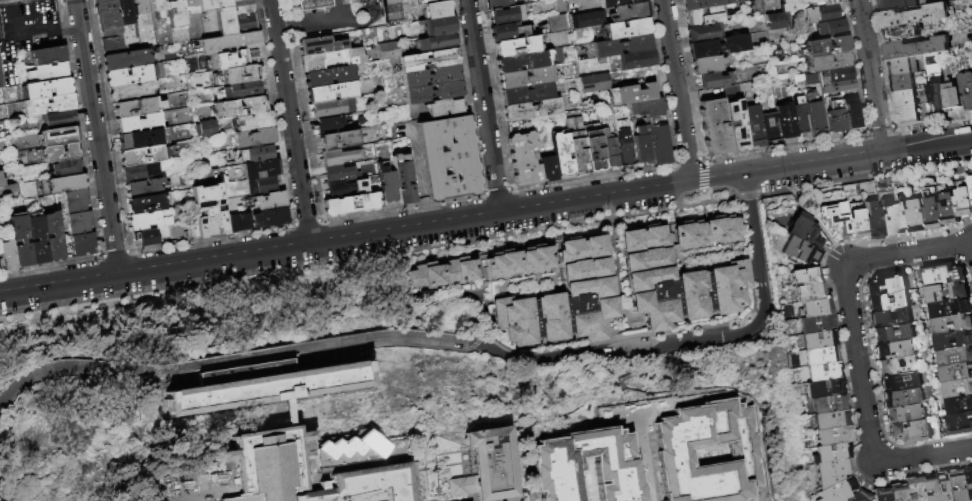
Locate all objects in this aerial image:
building: (542, 0)
road: (12, 2)
building: (239, 2)
road: (343, 2)
building: (422, 3)
building: (616, 3)
building: (313, 4)
building: (498, 4)
building: (705, 4)
building: (803, 4)
building: (191, 5)
building: (896, 5)
building: (159, 7)
building: (141, 8)
building: (242, 9)
building: (391, 10)
building: (407, 10)
building: (436, 10)
building: (127, 12)
road: (345, 12)
building: (628, 12)
building: (175, 14)
building: (220, 14)
building: (820, 14)
building: (506, 15)
road: (311, 16)
building: (703, 16)
building: (913, 16)
building: (107, 17)
road: (364, 18)
building: (583, 19)
building: (776, 20)
road: (322, 23)
building: (557, 23)
building: (245, 24)
building: (439, 26)
road: (70, 28)
road: (287, 28)
building: (834, 29)
building: (624, 30)
building: (507, 32)
building: (703, 33)
road: (24, 34)
building: (900, 34)
building: (179, 35)
building: (436, 42)
building: (230, 43)
building: (113, 46)
building: (319, 46)
building: (517, 46)
building: (824, 46)
building: (619, 47)
building: (717, 47)
building: (918, 48)
building: (387, 51)
building: (47, 55)
building: (126, 60)
building: (232, 60)
building: (331, 60)
building: (429, 60)
building: (634, 61)
building: (523, 62)
building: (826, 62)
building: (706, 65)
building: (904, 66)
building: (49, 72)
building: (158, 72)
building: (240, 75)
building: (431, 76)
road: (870, 76)
building: (329, 77)
building: (526, 78)
building: (797, 78)
building: (1, 79)
building: (810, 79)
building: (713, 80)
building: (839, 80)
building: (595, 82)
building: (131, 83)
building: (823, 83)
building: (902, 83)
building: (45, 89)
building: (966, 90)
building: (238, 91)
building: (433, 92)
road: (676, 92)
building: (331, 93)
building: (526, 94)
building: (630, 94)
building: (937, 95)
building: (953, 98)
building: (905, 99)
building: (48, 105)
road: (483, 107)
building: (138, 108)
building: (239, 108)
building: (330, 108)
building: (446, 108)
building: (646, 108)
building: (531, 109)
building: (851, 114)
building: (814, 115)
building: (834, 115)
building: (907, 116)
building: (799, 118)
building: (59, 119)
building: (254, 122)
road: (289, 122)
building: (785, 122)
building: (140, 123)
building: (330, 125)
building: (737, 125)
building: (753, 126)
building: (713, 127)
building: (770, 128)
building: (207, 129)
building: (59, 136)
road: (95, 138)
building: (255, 138)
building: (144, 139)
building: (338, 141)
building: (657, 141)
building: (576, 144)
building: (640, 145)
road: (927, 145)
building: (592, 147)
building: (624, 147)
building: (608, 150)
building: (56, 153)
building: (257, 154)
building: (562, 155)
building: (145, 156)
building: (338, 157)
building: (448, 158)
building: (523, 158)
building: (66, 168)
building: (547, 168)
building: (261, 169)
building: (141, 172)
building: (385, 172)
building: (337, 173)
building: (402, 179)
building: (1, 182)
road: (691, 183)
building: (62, 185)
building: (262, 186)
building: (144, 188)
building: (345, 189)
building: (76, 202)
building: (267, 202)
building: (965, 202)
building: (146, 205)
building: (349, 205)
building: (951, 206)
building: (935, 210)
building: (207, 213)
building: (903, 216)
building: (918, 216)
road: (811, 217)
building: (270, 218)
building: (835, 218)
building: (888, 219)
building: (148, 221)
building: (871, 222)
building: (79, 223)
building: (238, 223)
building: (856, 225)
building: (804, 232)
building: (52, 237)
building: (150, 237)
building: (37, 240)
building: (20, 242)
building: (83, 244)
building: (800, 252)
road: (907, 253)
building: (8, 254)
road: (250, 255)
building: (519, 261)
building: (1, 264)
building: (446, 273)
building: (681, 273)
building: (944, 274)
building: (804, 276)
building: (887, 283)
building: (808, 292)
building: (949, 292)
building: (565, 300)
building: (888, 301)
building: (813, 308)
building: (951, 308)
building: (891, 318)
building: (816, 324)
building: (952, 324)
building: (893, 334)
building: (819, 340)
building: (953, 340)
road: (688, 343)
building: (893, 350)
building: (822, 355)
building: (955, 357)
road: (228, 360)
road: (624, 360)
road: (858, 364)
building: (898, 366)
building: (824, 370)
building: (956, 373)
building: (900, 381)
building: (263, 385)
building: (825, 388)
building: (958, 389)
building: (903, 397)
building: (829, 404)
building: (959, 405)
building: (904, 414)
building: (832, 420)
building: (960, 424)
building: (910, 432)
building: (834, 436)
building: (746, 441)
park: (715, 443)
park: (683, 449)
building: (832, 453)
road: (662, 456)
road: (923, 457)
building: (483, 466)
building: (270, 468)
building: (833, 472)
road: (546, 474)
building: (970, 476)
parking lot: (552, 478)
building: (963, 485)
building: (947, 487)
road: (582, 488)
building: (930, 488)
building: (914, 489)
road: (195, 490)
building: (838, 490)
building: (716, 491)
building: (899, 492)
building: (883, 494)
road: (609, 496)
building: (860, 496)
road: (466, 497)
road: (470, 499)

